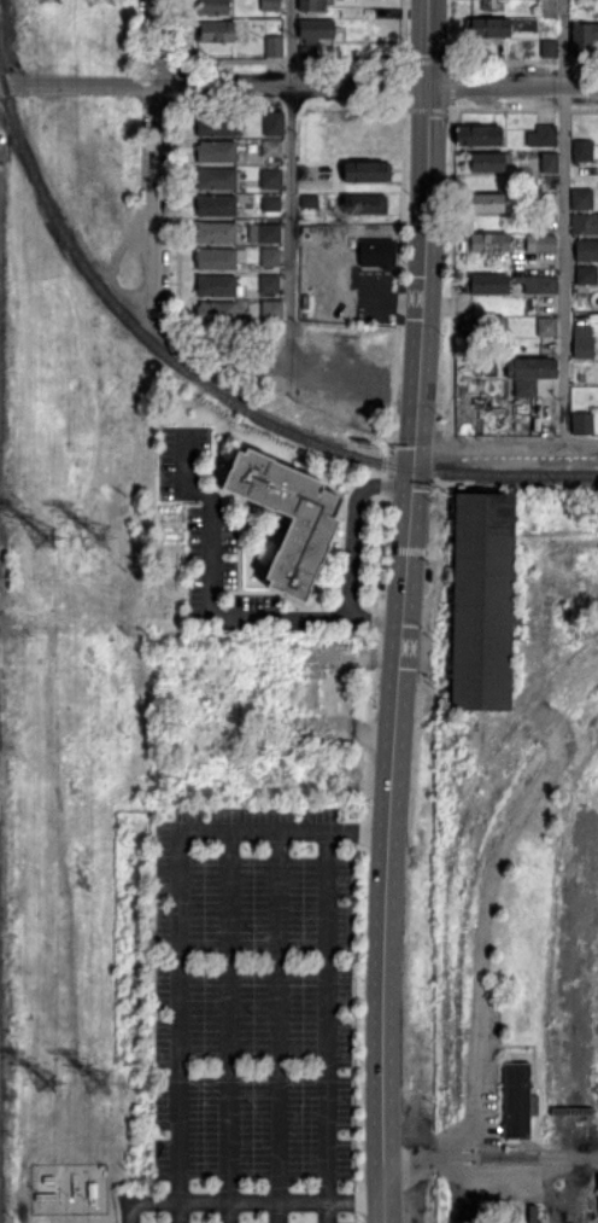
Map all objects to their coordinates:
building: (492, 4)
building: (270, 5)
building: (312, 5)
building: (213, 7)
building: (488, 28)
building: (215, 31)
building: (317, 31)
building: (582, 40)
road: (429, 42)
building: (275, 47)
building: (550, 49)
road: (298, 85)
building: (272, 123)
building: (216, 126)
building: (547, 135)
building: (479, 136)
building: (2, 139)
building: (271, 148)
building: (582, 151)
building: (216, 152)
road: (153, 158)
building: (488, 163)
building: (550, 163)
road: (289, 165)
building: (367, 171)
building: (216, 179)
building: (270, 179)
building: (582, 200)
building: (310, 202)
building: (271, 204)
building: (487, 204)
building: (365, 205)
building: (549, 205)
building: (216, 206)
road: (563, 221)
building: (585, 225)
building: (216, 233)
building: (272, 234)
building: (486, 244)
building: (545, 245)
building: (586, 251)
building: (377, 254)
building: (270, 257)
building: (218, 258)
railway: (81, 261)
road: (426, 263)
building: (587, 275)
building: (270, 284)
building: (538, 284)
building: (487, 285)
building: (217, 286)
building: (269, 310)
building: (217, 313)
building: (485, 326)
building: (545, 327)
building: (584, 343)
building: (533, 368)
building: (582, 378)
building: (526, 389)
building: (581, 425)
road: (508, 443)
railway: (411, 468)
road: (352, 524)
power tower: (52, 532)
power tower: (100, 535)
parking lot: (206, 535)
building: (303, 538)
road: (406, 549)
road: (213, 582)
building: (482, 601)
road: (375, 618)
road: (358, 832)
road: (388, 832)
railway: (456, 854)
railway: (473, 881)
railway: (553, 928)
road: (181, 953)
parking lot: (252, 1019)
road: (229, 1027)
road: (279, 1027)
road: (328, 1027)
power tower: (100, 1073)
building: (517, 1101)
road: (456, 1138)
road: (482, 1178)
building: (48, 1180)
building: (96, 1180)
building: (78, 1184)
building: (96, 1195)
building: (78, 1196)
building: (47, 1198)
road: (218, 1201)
road: (357, 1201)
building: (533, 1209)

